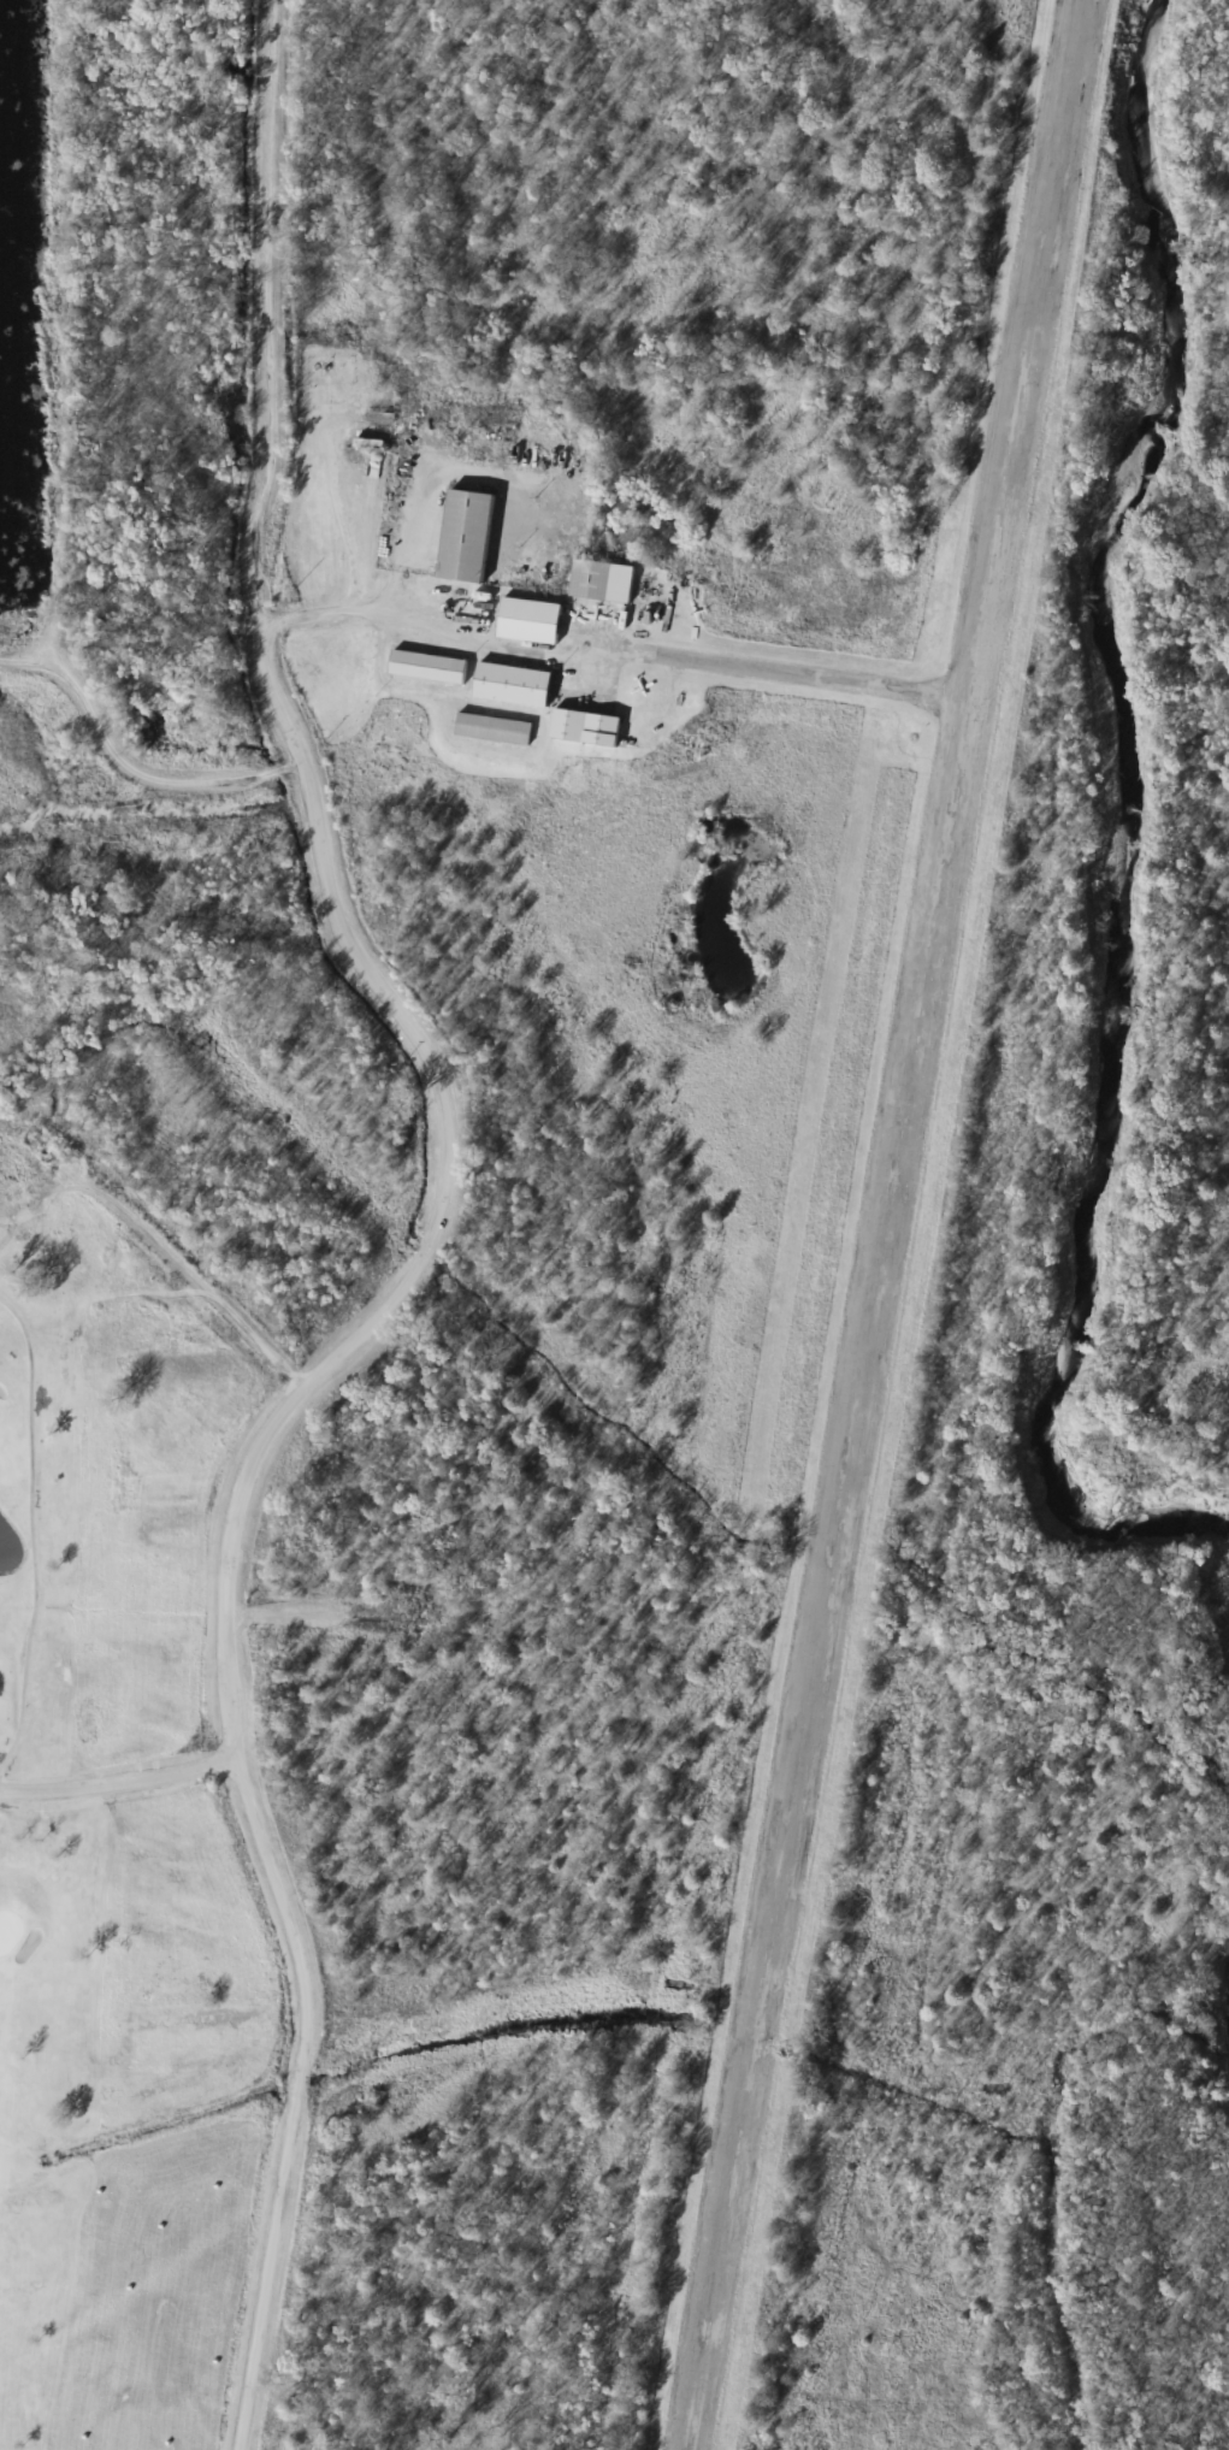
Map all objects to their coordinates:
building: (462, 537)
building: (598, 583)
road: (359, 615)
building: (425, 668)
airport taxiway: (798, 672)
building: (509, 685)
building: (583, 727)
building: (490, 730)
road: (125, 762)
airport runway: (882, 1224)
road: (432, 1245)
road: (323, 1612)
road: (119, 1785)

